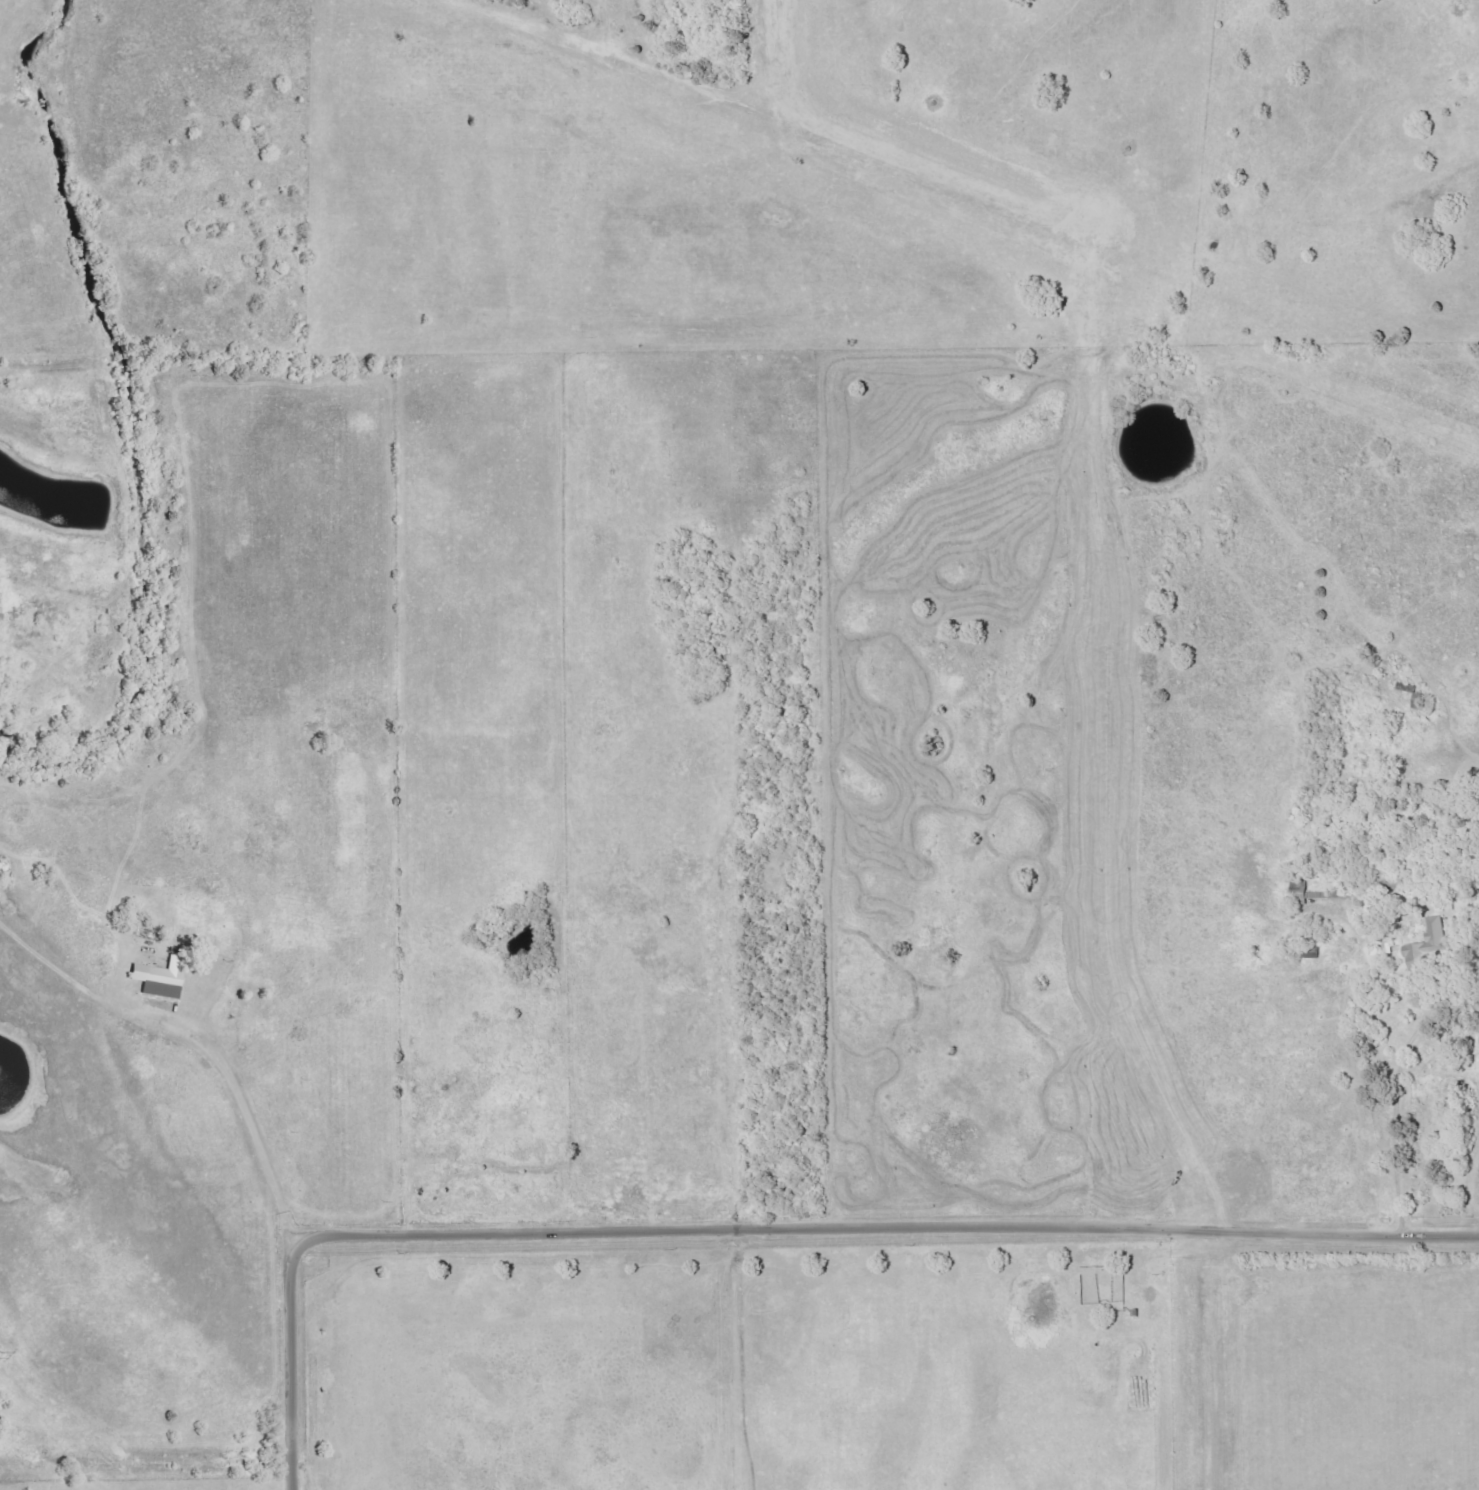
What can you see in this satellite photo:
building: (1303, 892)
building: (1429, 946)
building: (158, 980)
road: (237, 1106)
road: (1397, 1120)
road: (886, 1227)
road: (296, 1368)

